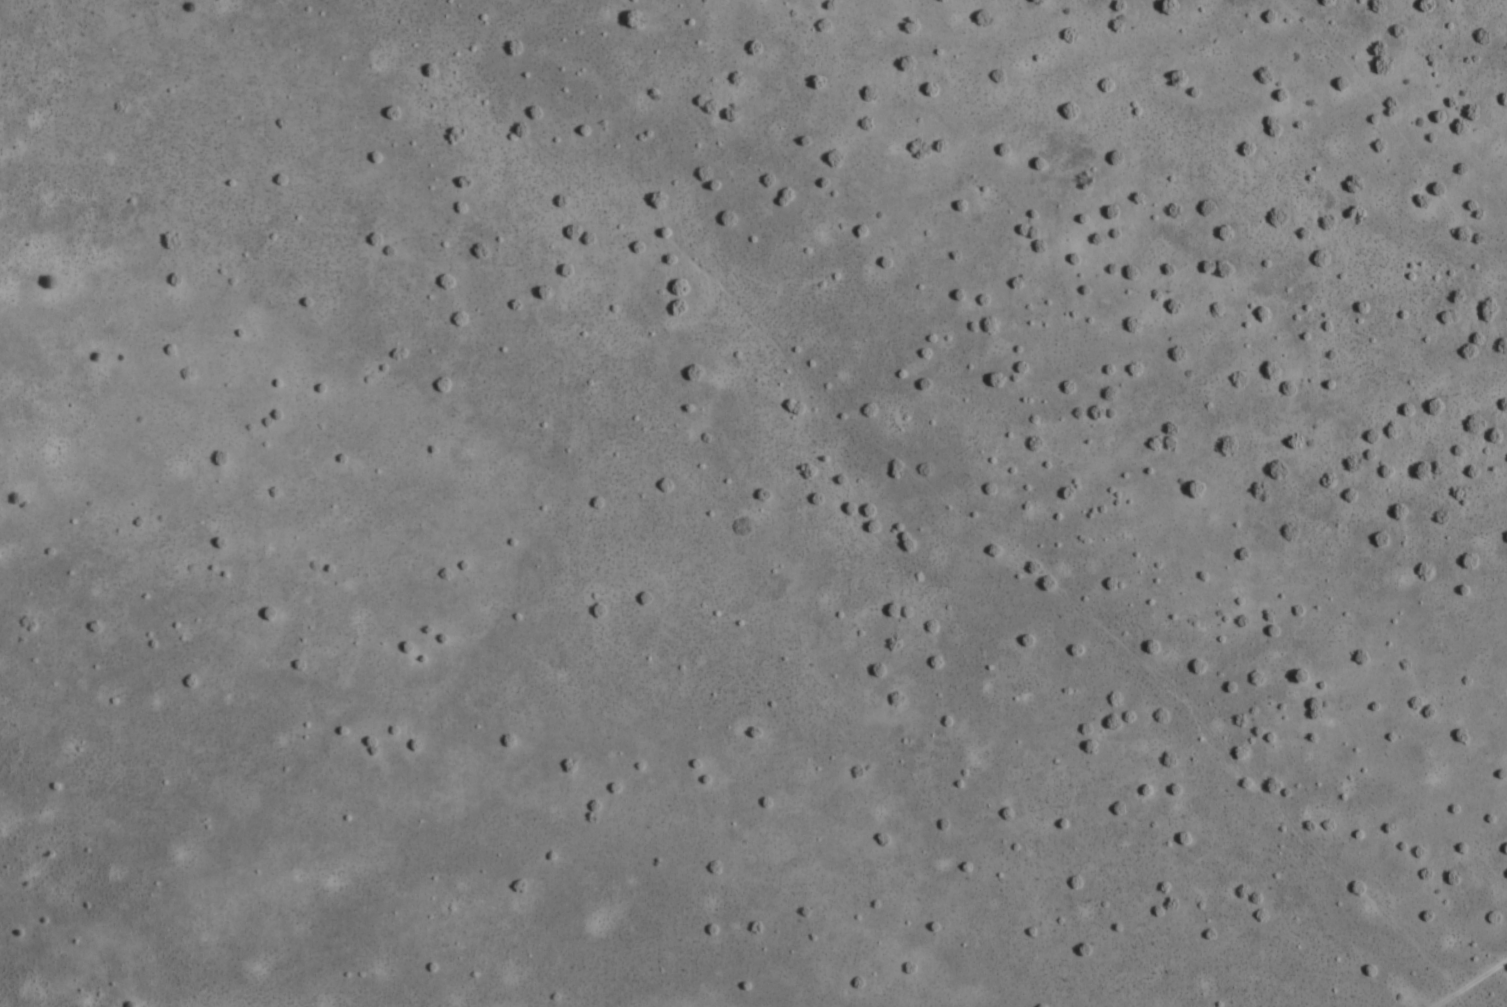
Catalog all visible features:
road: (1464, 980)

